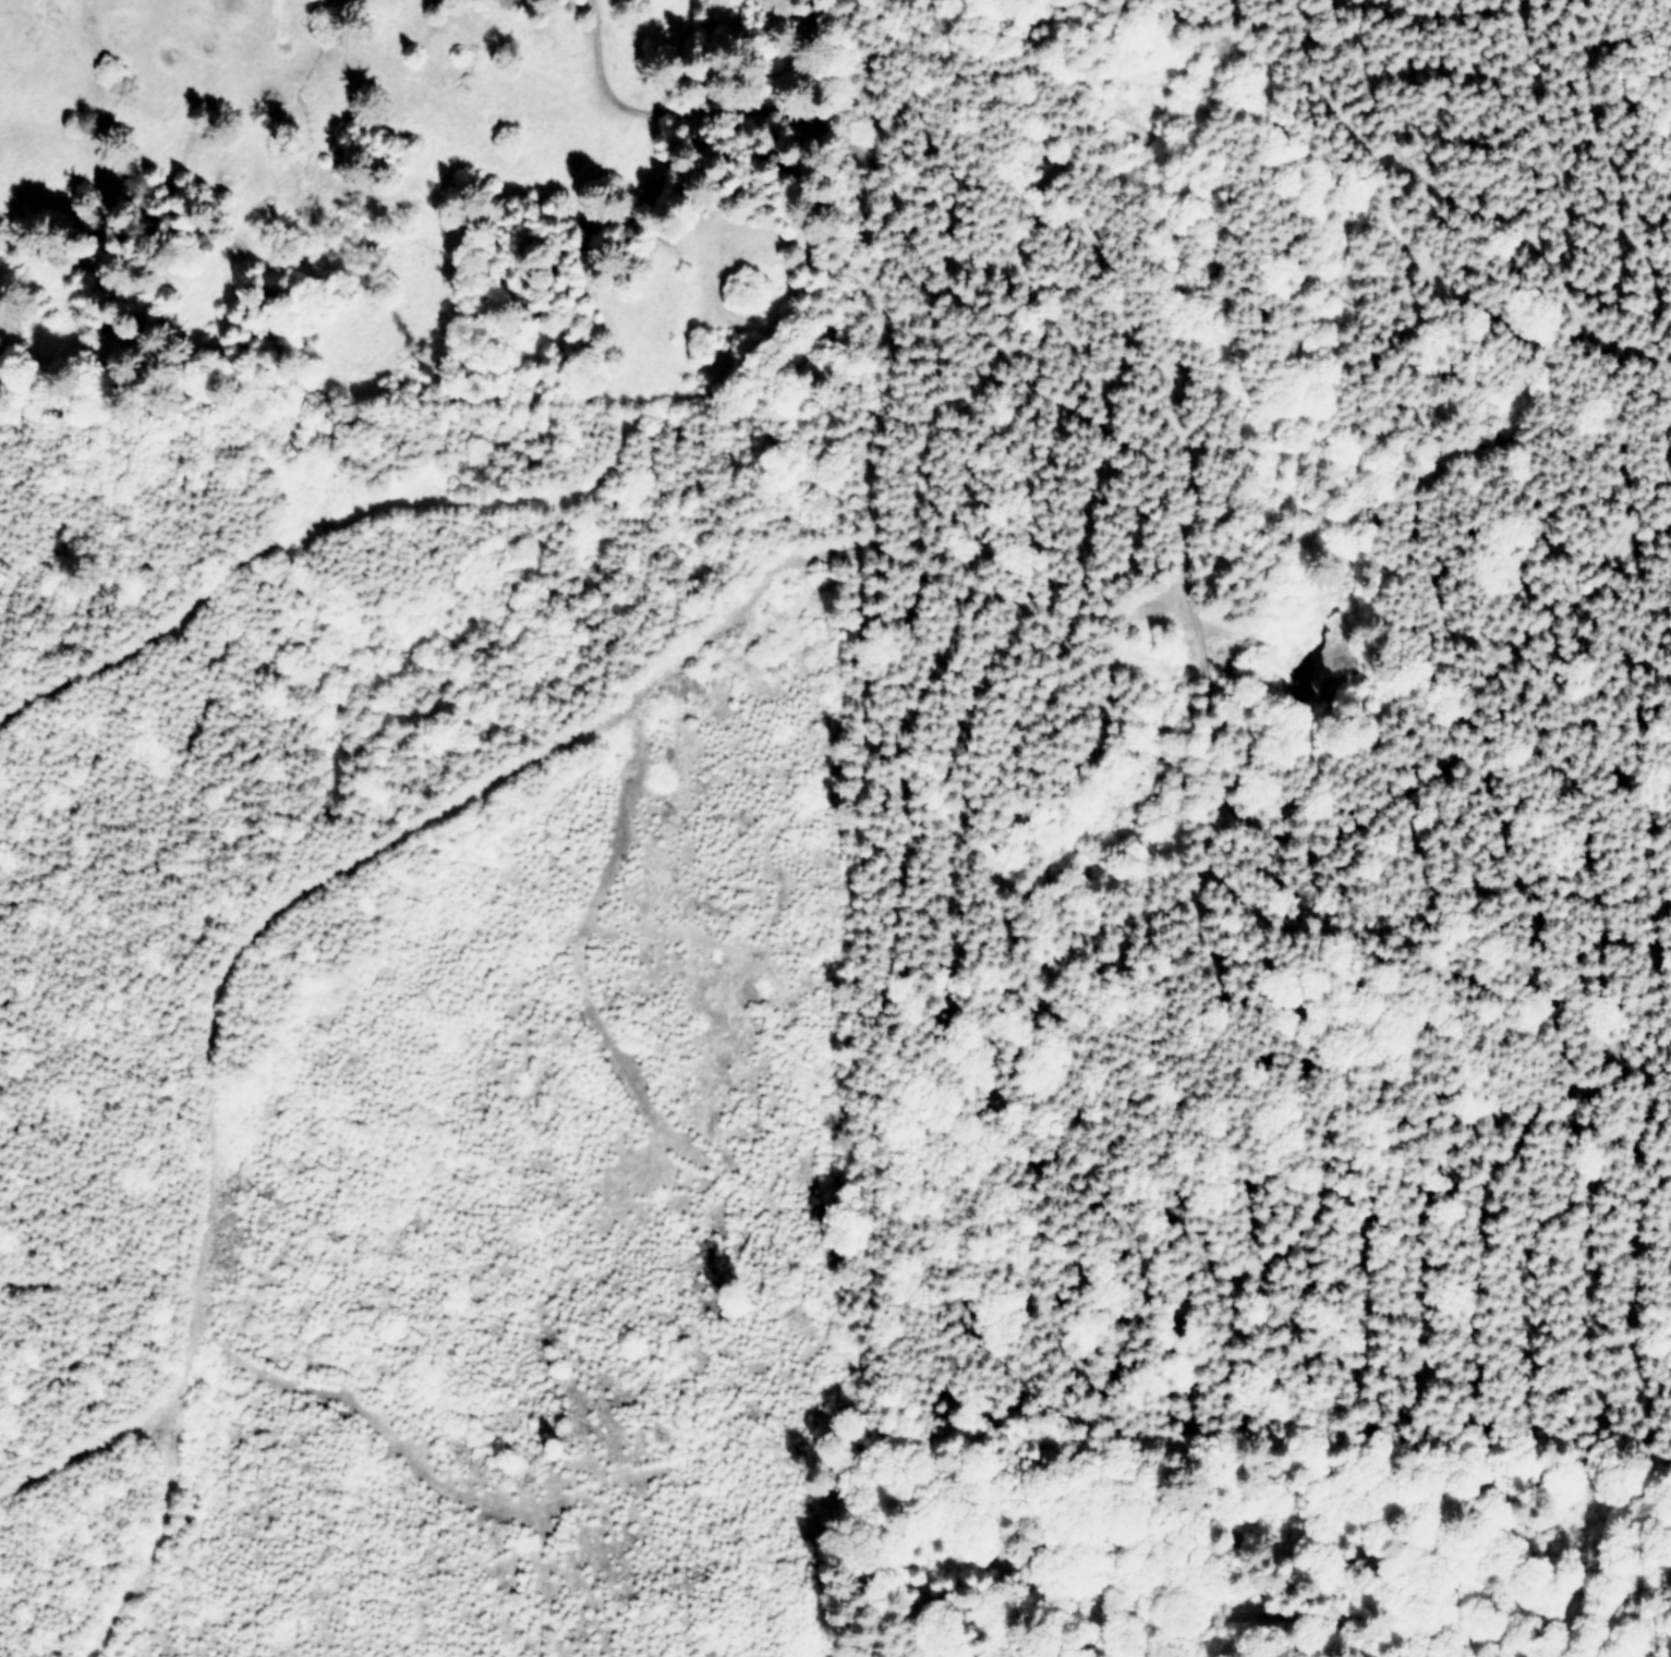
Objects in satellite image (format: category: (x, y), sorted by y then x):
crop: (66, 61)

